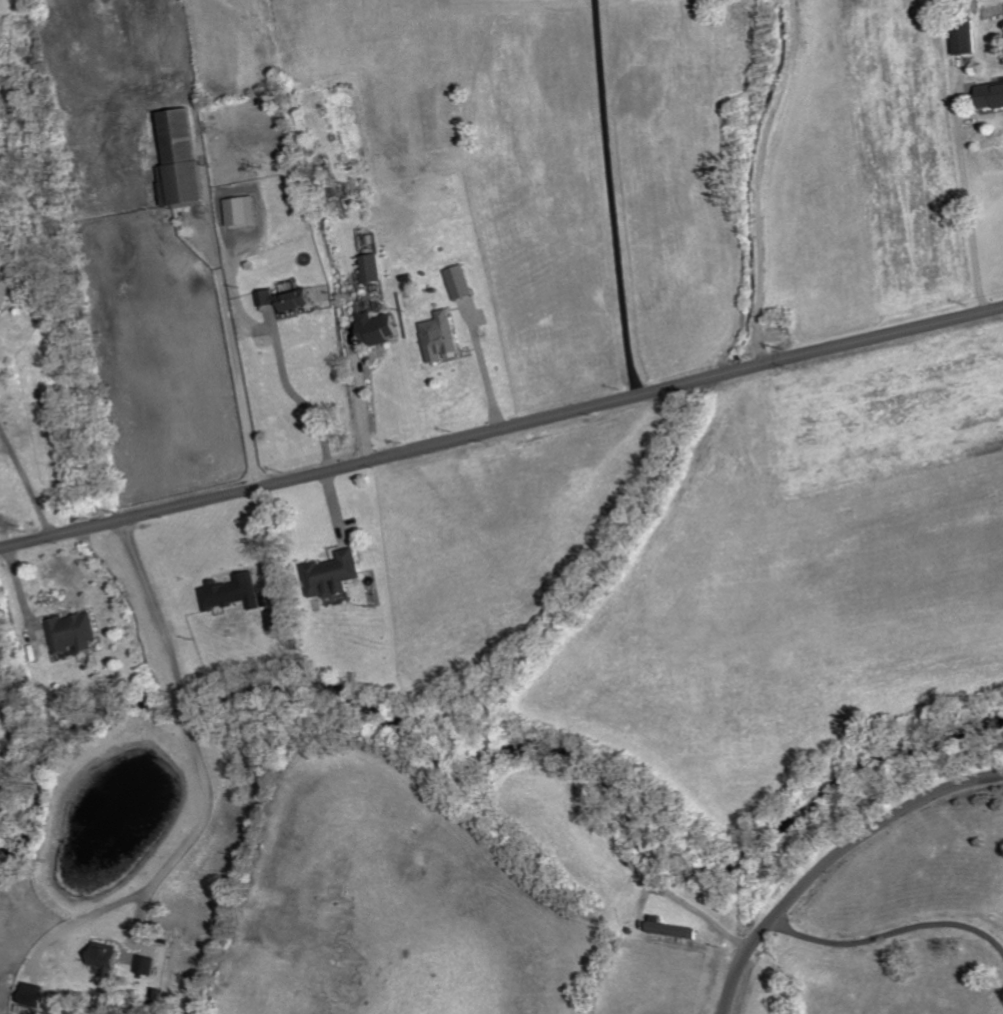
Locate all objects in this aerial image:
building: (967, 41)
building: (992, 95)
park: (464, 116)
building: (185, 159)
road: (750, 181)
road: (611, 198)
building: (245, 210)
building: (374, 268)
building: (461, 282)
building: (8, 287)
building: (289, 299)
building: (380, 328)
building: (443, 337)
road: (501, 429)
road: (12, 520)
building: (335, 574)
building: (235, 593)
building: (277, 621)
building: (76, 633)
road: (832, 861)
building: (670, 929)
building: (107, 957)
building: (146, 965)
building: (33, 995)

